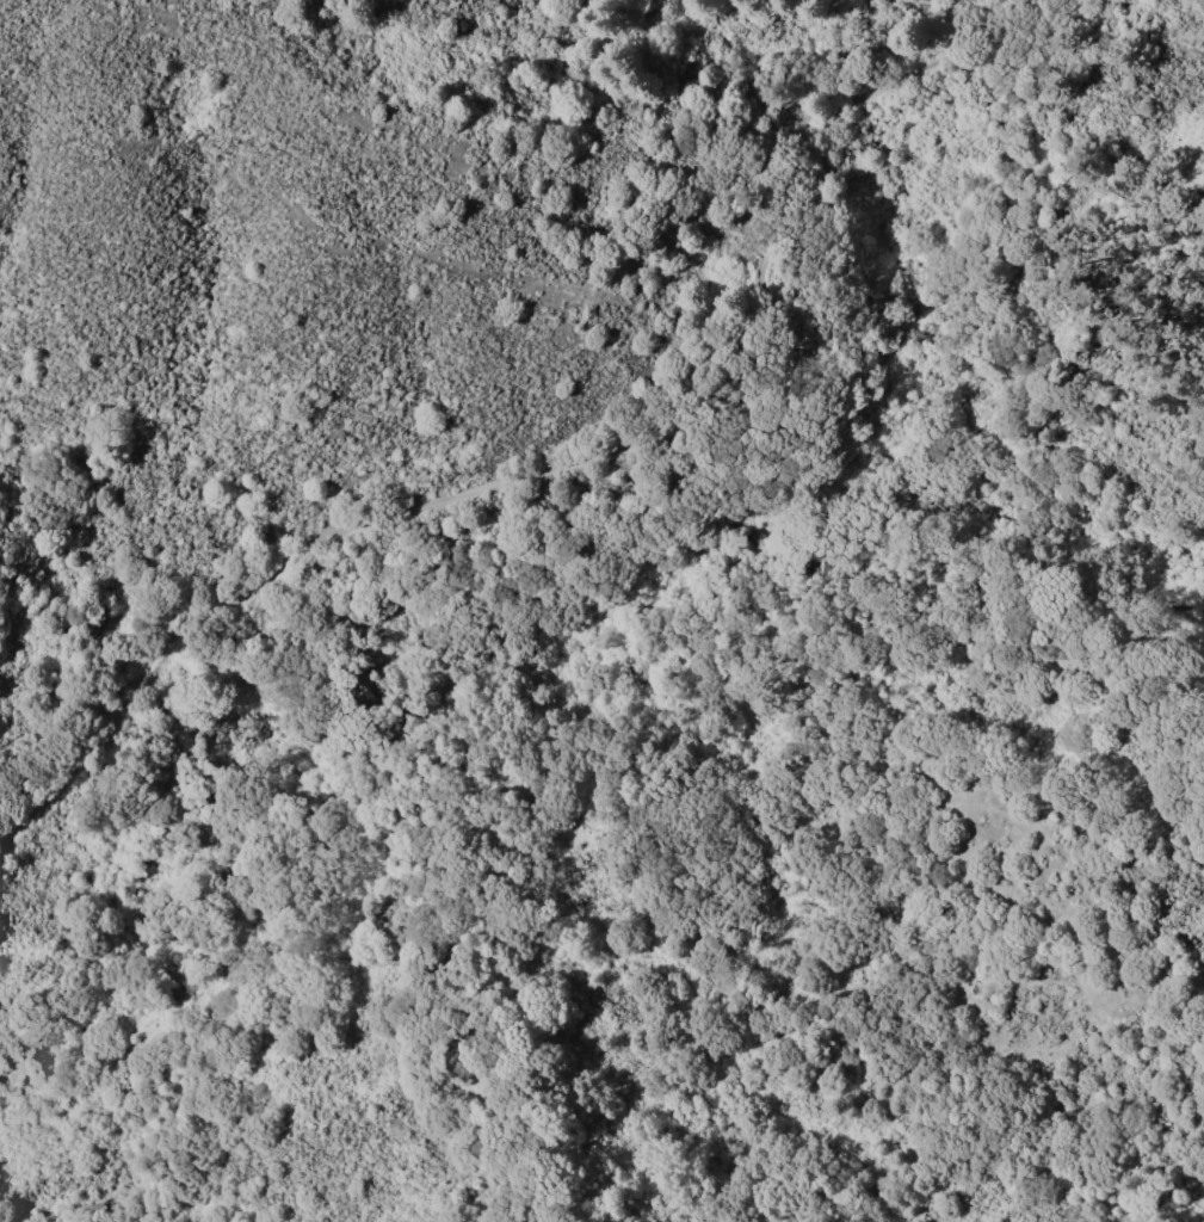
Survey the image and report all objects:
road: (1051, 246)
road: (585, 459)
road: (798, 496)
road: (630, 823)
road: (492, 1014)
road: (116, 1169)
road: (548, 1208)
power tower: (149, 1216)

